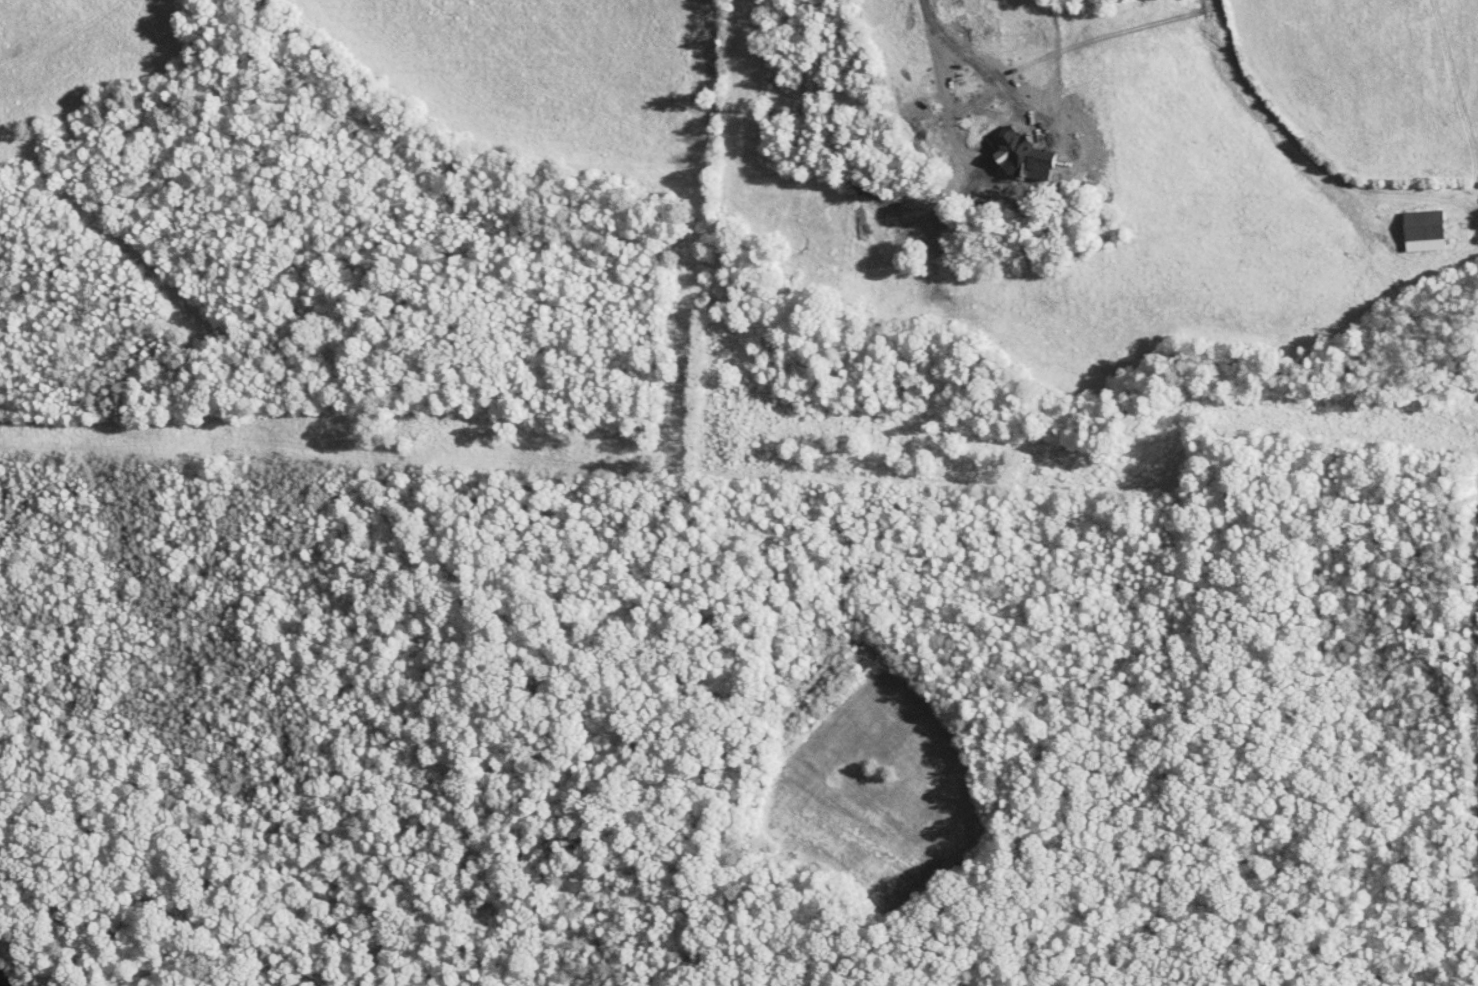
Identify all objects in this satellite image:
building: (1410, 222)
road: (2, 981)

